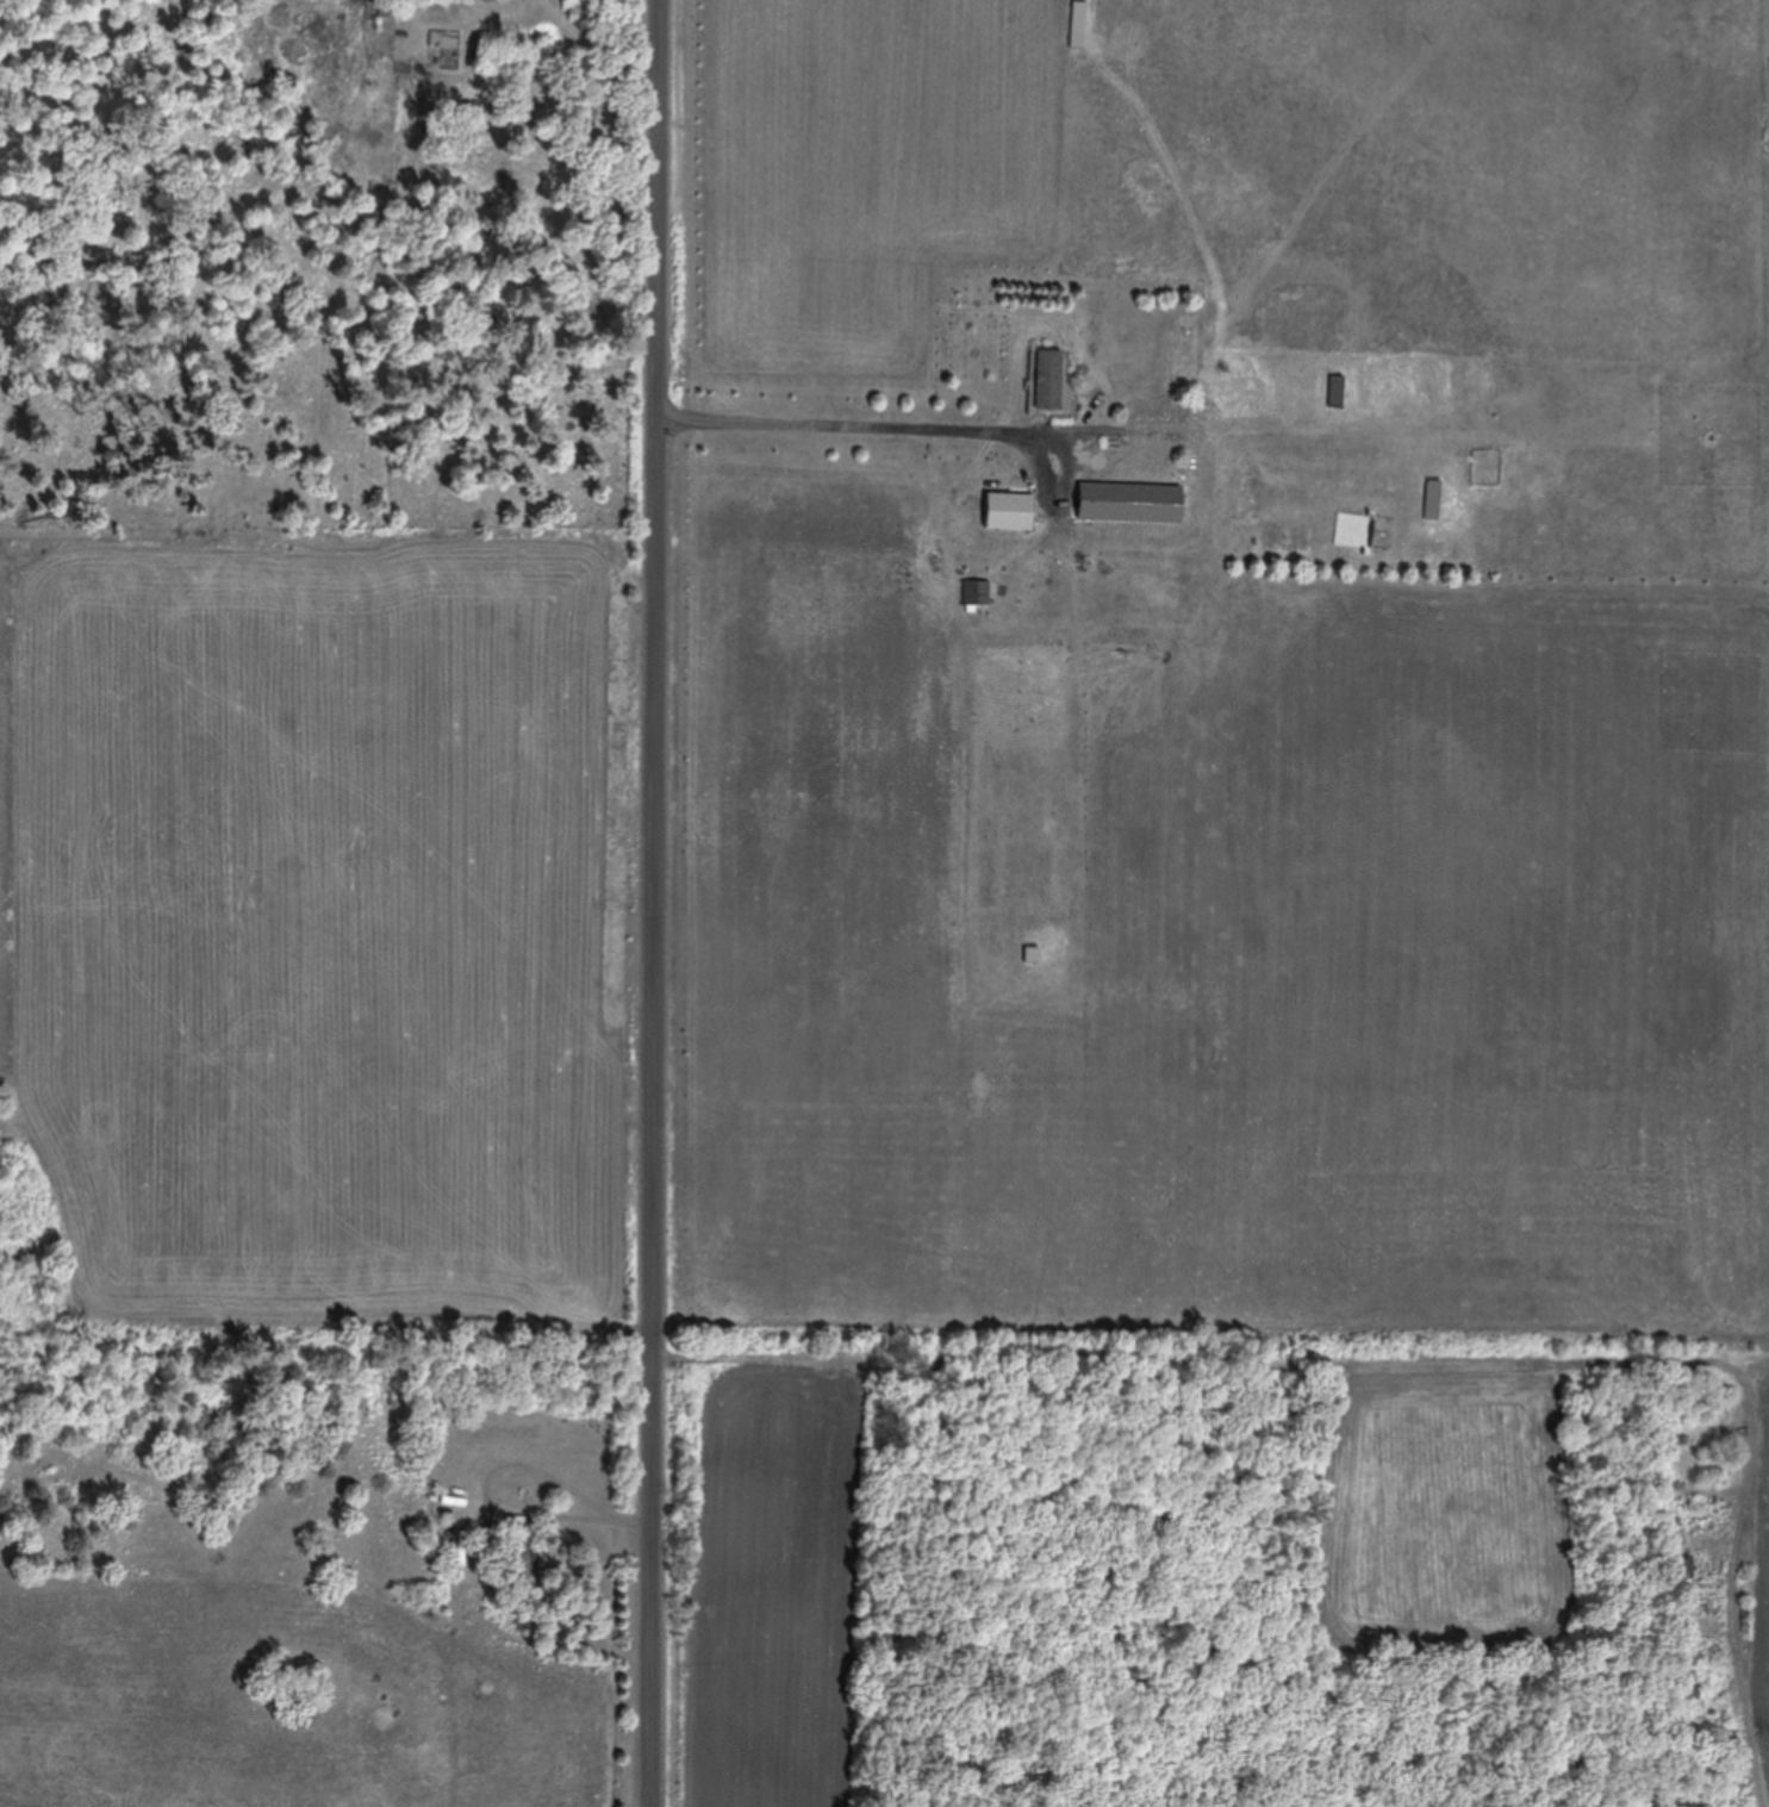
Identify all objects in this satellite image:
building: (1078, 26)
building: (444, 42)
building: (1047, 380)
building: (1337, 392)
road: (847, 437)
building: (1433, 500)
building: (1129, 504)
building: (1009, 512)
road: (653, 903)
building: (1032, 955)
building: (522, 1565)
building: (1688, 1583)
building: (1690, 1693)

